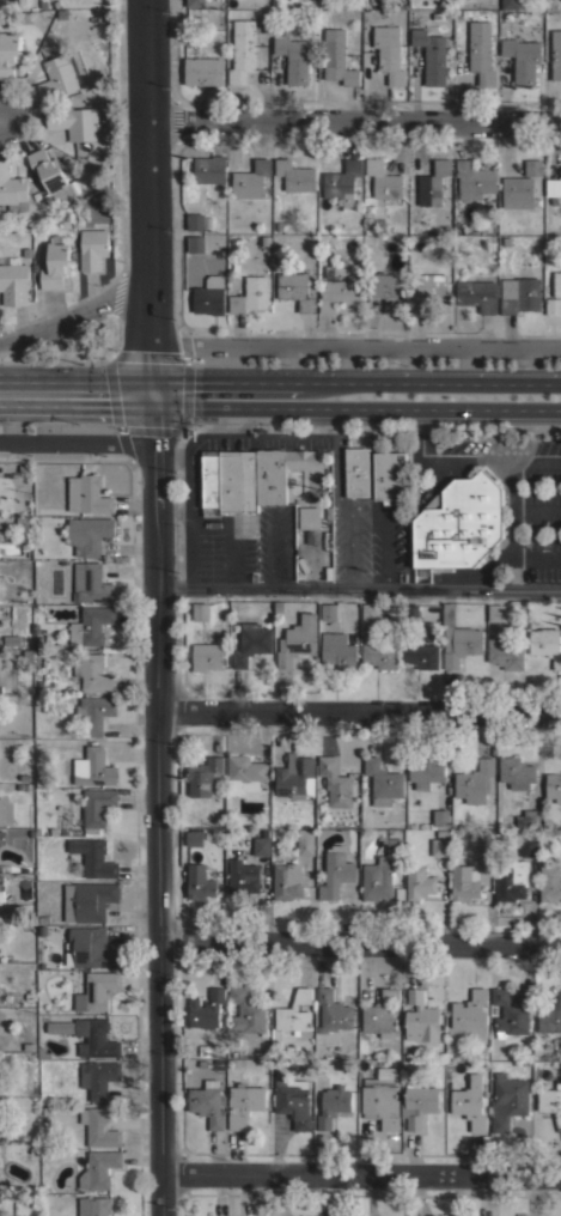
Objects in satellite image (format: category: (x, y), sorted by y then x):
building: (212, 2)
building: (195, 4)
building: (510, 4)
building: (465, 13)
building: (437, 16)
building: (243, 50)
building: (389, 51)
building: (482, 51)
building: (10, 53)
building: (432, 54)
building: (556, 54)
building: (295, 56)
building: (337, 56)
building: (523, 57)
building: (205, 71)
building: (59, 75)
road: (354, 116)
road: (1, 120)
building: (75, 122)
building: (533, 166)
building: (211, 168)
building: (49, 172)
building: (295, 175)
building: (252, 178)
building: (474, 178)
building: (383, 180)
building: (342, 181)
building: (433, 182)
building: (554, 186)
building: (12, 189)
building: (523, 191)
road: (148, 199)
building: (554, 200)
building: (340, 202)
building: (368, 209)
building: (197, 220)
building: (278, 225)
building: (526, 229)
building: (366, 230)
building: (266, 239)
building: (196, 243)
building: (93, 248)
building: (56, 262)
building: (13, 281)
building: (557, 284)
building: (335, 288)
building: (297, 290)
building: (428, 290)
building: (386, 292)
building: (251, 293)
building: (477, 293)
building: (520, 294)
building: (211, 296)
building: (553, 306)
road: (81, 311)
road: (356, 341)
road: (355, 383)
road: (77, 396)
traffic signals: (153, 397)
road: (355, 408)
road: (78, 442)
building: (304, 458)
building: (356, 472)
building: (389, 474)
building: (272, 475)
building: (228, 481)
building: (87, 494)
building: (38, 501)
building: (309, 517)
building: (459, 523)
building: (24, 528)
building: (90, 534)
building: (511, 574)
building: (91, 583)
road: (359, 588)
building: (201, 610)
building: (330, 610)
building: (370, 612)
building: (410, 612)
building: (495, 613)
building: (91, 625)
building: (38, 636)
building: (11, 639)
building: (458, 639)
building: (297, 640)
building: (252, 643)
building: (547, 644)
building: (339, 650)
building: (379, 651)
building: (506, 652)
building: (207, 656)
building: (422, 656)
building: (92, 671)
building: (0, 687)
road: (360, 711)
building: (94, 712)
building: (45, 741)
building: (61, 742)
building: (93, 767)
building: (425, 772)
building: (517, 772)
building: (245, 773)
building: (203, 777)
building: (295, 777)
building: (383, 778)
building: (335, 782)
building: (476, 782)
building: (554, 785)
building: (19, 786)
building: (26, 786)
road: (158, 805)
building: (94, 809)
building: (0, 810)
building: (440, 817)
building: (529, 817)
building: (53, 829)
building: (37, 831)
building: (2, 837)
building: (195, 838)
building: (305, 841)
building: (262, 844)
building: (439, 846)
building: (483, 847)
building: (529, 847)
building: (94, 857)
building: (5, 868)
building: (336, 871)
building: (380, 873)
building: (243, 878)
building: (288, 880)
building: (511, 880)
building: (200, 882)
building: (419, 882)
building: (550, 882)
building: (464, 883)
building: (2, 888)
building: (89, 900)
road: (359, 943)
building: (92, 947)
building: (96, 990)
building: (30, 995)
building: (207, 1009)
building: (246, 1011)
building: (333, 1011)
building: (295, 1014)
building: (382, 1014)
building: (508, 1014)
building: (471, 1015)
building: (551, 1016)
building: (421, 1017)
building: (60, 1026)
building: (96, 1038)
building: (30, 1045)
building: (98, 1077)
building: (508, 1100)
building: (294, 1101)
building: (551, 1101)
building: (208, 1102)
building: (419, 1102)
building: (470, 1102)
building: (244, 1103)
building: (380, 1103)
building: (334, 1105)
building: (48, 1111)
building: (99, 1126)
building: (1, 1154)
building: (99, 1168)
road: (361, 1178)
building: (94, 1205)
building: (0, 1215)

